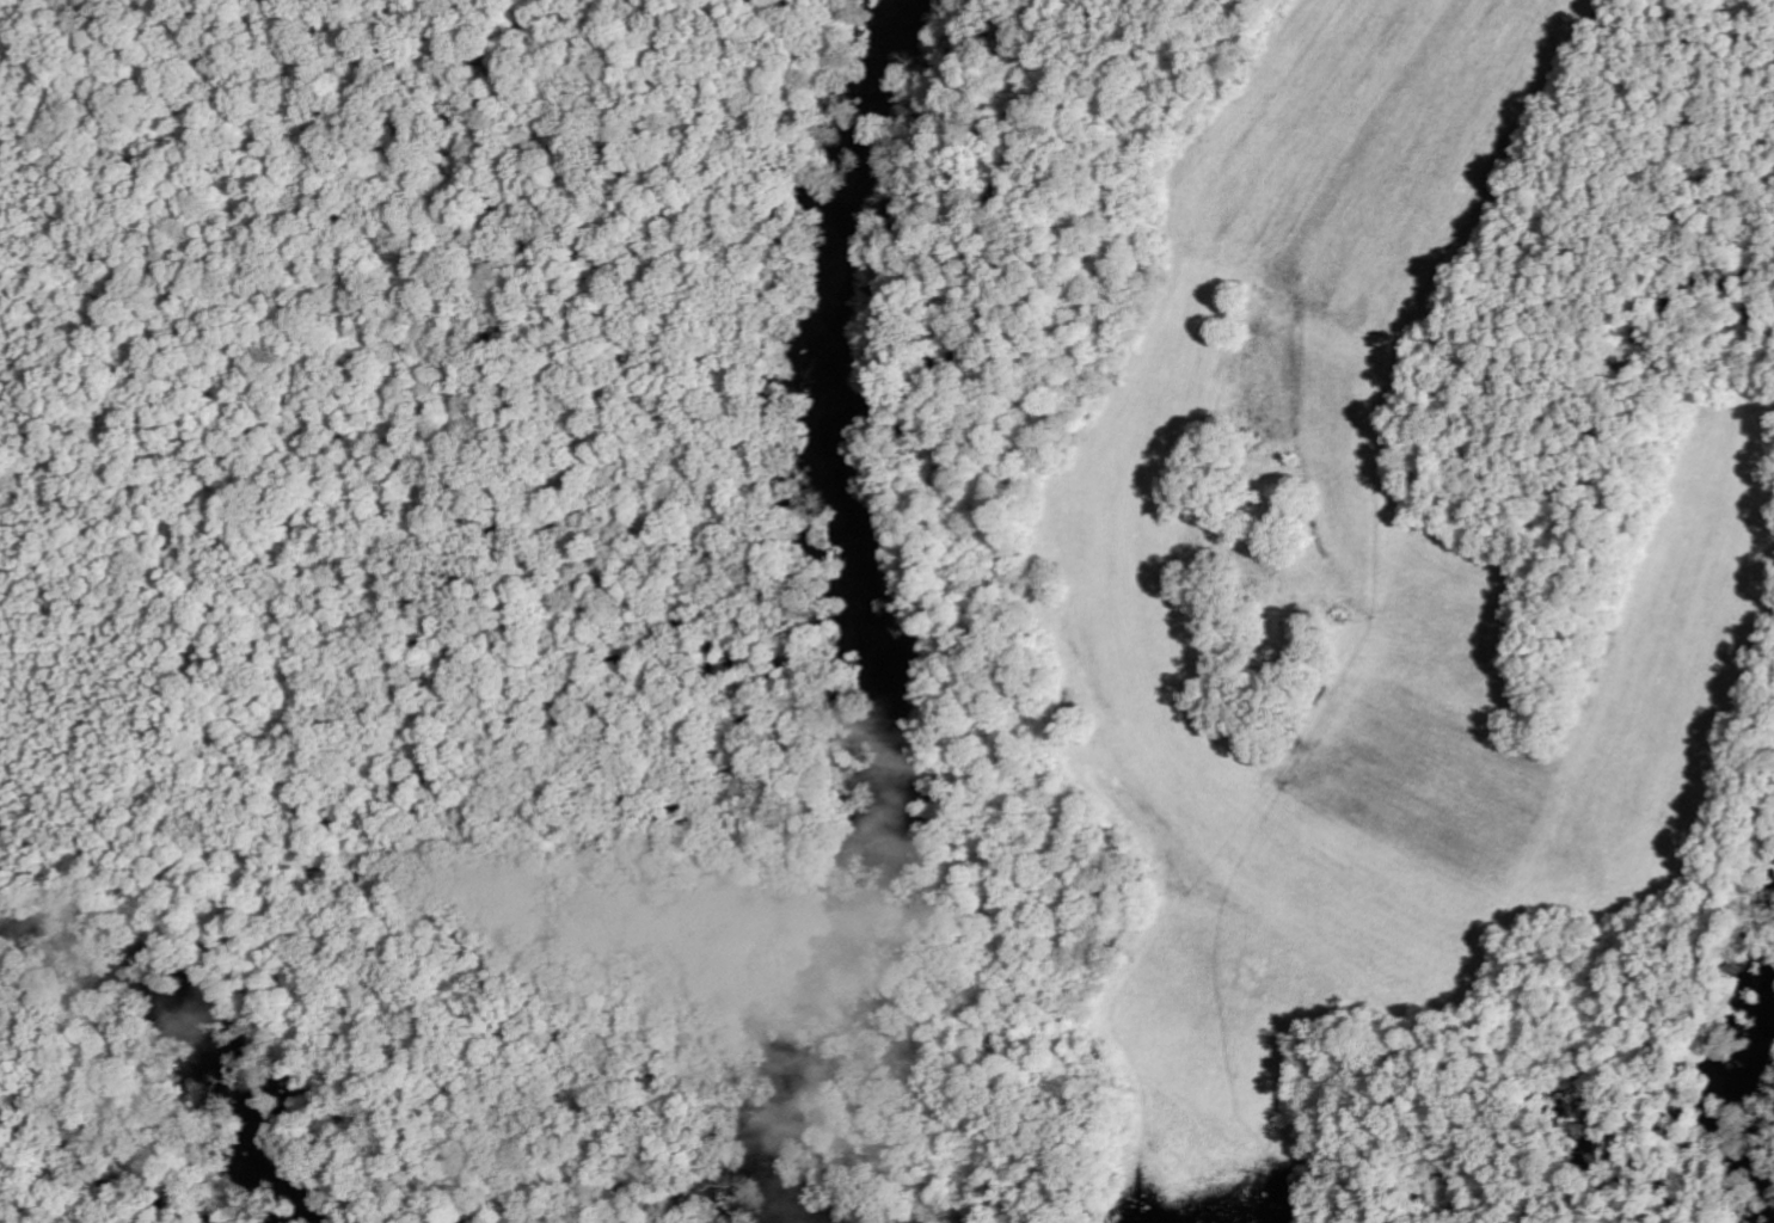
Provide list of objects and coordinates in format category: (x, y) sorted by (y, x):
river: (882, 623)
river: (214, 1019)
river: (1762, 1102)
river: (793, 1210)

